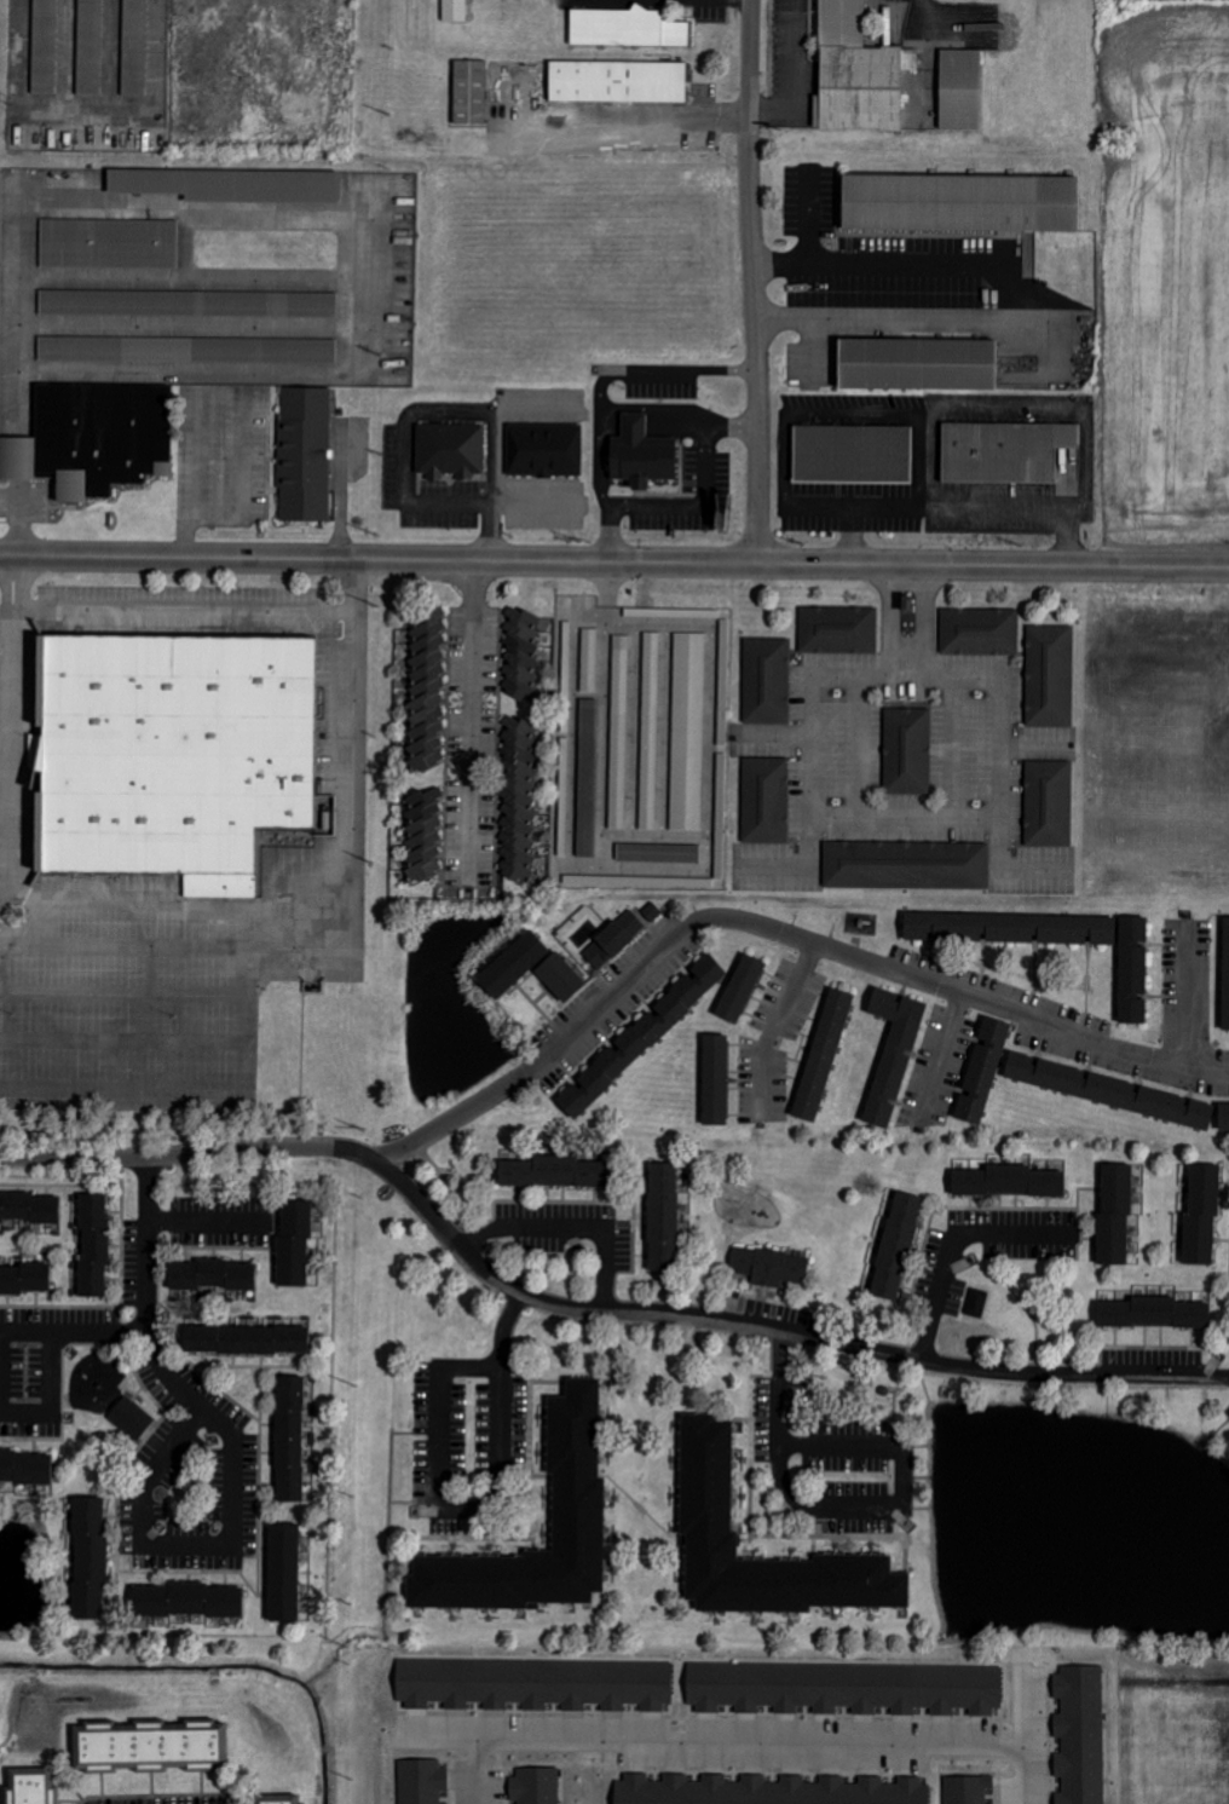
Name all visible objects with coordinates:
building: (627, 28)
building: (91, 34)
building: (45, 46)
building: (134, 47)
building: (856, 73)
building: (617, 81)
building: (960, 90)
building: (471, 92)
road: (630, 120)
building: (230, 185)
building: (960, 203)
building: (109, 243)
road: (752, 281)
road: (1025, 302)
building: (189, 304)
building: (187, 350)
building: (927, 371)
road: (657, 380)
road: (910, 419)
road: (607, 426)
road: (634, 426)
road: (683, 428)
building: (100, 446)
road: (405, 448)
building: (640, 454)
building: (1004, 454)
building: (552, 459)
building: (460, 460)
building: (313, 461)
building: (860, 462)
road: (595, 474)
road: (692, 512)
road: (533, 515)
road: (959, 517)
road: (614, 563)
road: (180, 609)
building: (671, 612)
road: (6, 621)
building: (838, 629)
building: (979, 632)
building: (526, 652)
road: (6, 668)
road: (911, 673)
building: (1049, 676)
building: (766, 681)
building: (427, 691)
road: (12, 710)
road: (6, 715)
road: (473, 724)
building: (688, 732)
building: (907, 751)
building: (187, 763)
road: (6, 765)
building: (519, 800)
building: (766, 801)
building: (1048, 803)
road: (5, 811)
road: (910, 818)
building: (425, 834)
building: (658, 853)
road: (5, 864)
building: (906, 865)
road: (10, 883)
road: (91, 893)
building: (652, 912)
building: (1009, 929)
road: (772, 930)
building: (613, 940)
road: (174, 945)
road: (316, 959)
building: (1132, 972)
building: (739, 990)
road: (123, 992)
road: (1187, 996)
road: (771, 1027)
building: (640, 1038)
road: (123, 1039)
building: (892, 1054)
building: (821, 1056)
road: (944, 1061)
building: (981, 1072)
building: (714, 1080)
building: (1109, 1091)
building: (1223, 1117)
building: (553, 1174)
building: (1006, 1183)
building: (29, 1210)
building: (1114, 1215)
building: (1200, 1216)
building: (663, 1218)
road: (204, 1221)
road: (566, 1237)
road: (953, 1240)
building: (293, 1245)
building: (93, 1246)
building: (895, 1247)
building: (769, 1267)
building: (210, 1276)
building: (24, 1280)
road: (588, 1310)
building: (1153, 1314)
building: (244, 1341)
road: (0, 1362)
road: (160, 1368)
building: (131, 1418)
building: (289, 1440)
building: (25, 1469)
building: (706, 1479)
road: (144, 1503)
road: (479, 1510)
road: (848, 1511)
building: (577, 1514)
building: (88, 1558)
building: (283, 1573)
building: (186, 1601)
building: (535, 1683)
building: (844, 1688)
building: (1081, 1734)
road: (752, 1741)
building: (158, 1754)
road: (480, 1774)
road: (1032, 1776)
building: (30, 1786)
building: (536, 1786)
building: (969, 1789)
building: (768, 1791)
building: (288, 1803)

